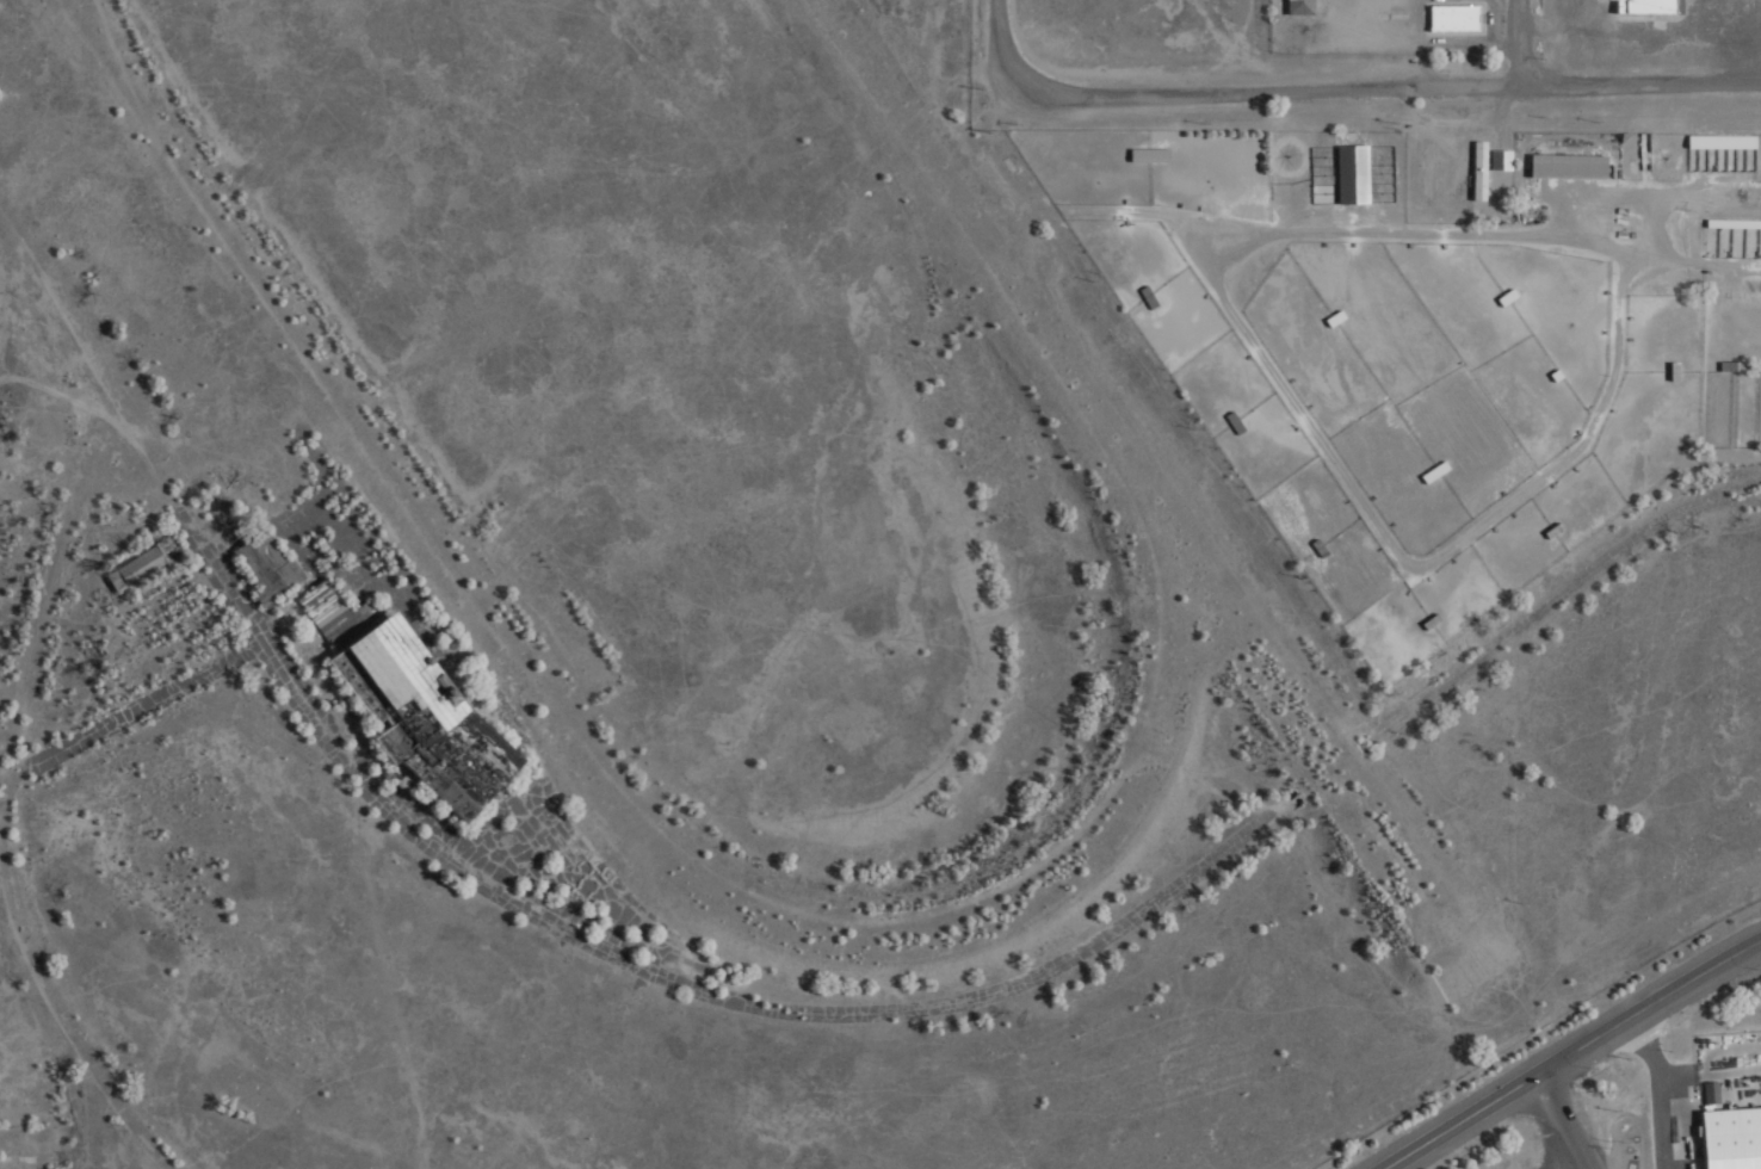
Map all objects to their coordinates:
building: (1639, 6)
building: (1302, 7)
building: (1457, 16)
road: (1003, 39)
road: (1525, 43)
park: (106, 62)
road: (1386, 91)
building: (1720, 141)
building: (1495, 159)
building: (1561, 166)
building: (1473, 171)
building: (1347, 174)
building: (1729, 218)
building: (1138, 292)
building: (1496, 292)
building: (1324, 314)
building: (1723, 361)
building: (1760, 361)
building: (1664, 366)
building: (1545, 371)
park: (700, 417)
building: (1224, 419)
building: (1423, 468)
road: (1723, 489)
building: (1544, 526)
building: (1309, 544)
road: (1563, 589)
building: (327, 608)
building: (1421, 617)
park: (1273, 686)
building: (456, 715)
road: (1569, 1051)
building: (1712, 1090)
road: (1559, 1121)
building: (1726, 1137)

